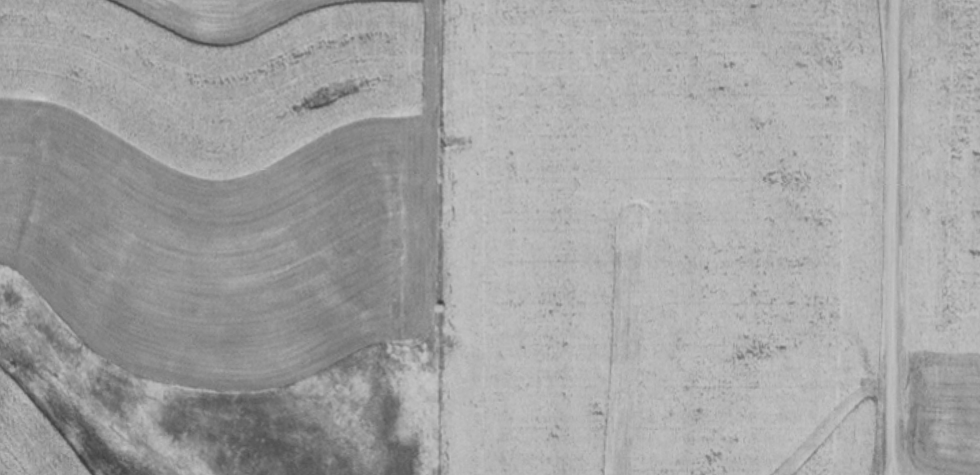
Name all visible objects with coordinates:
road: (891, 237)

